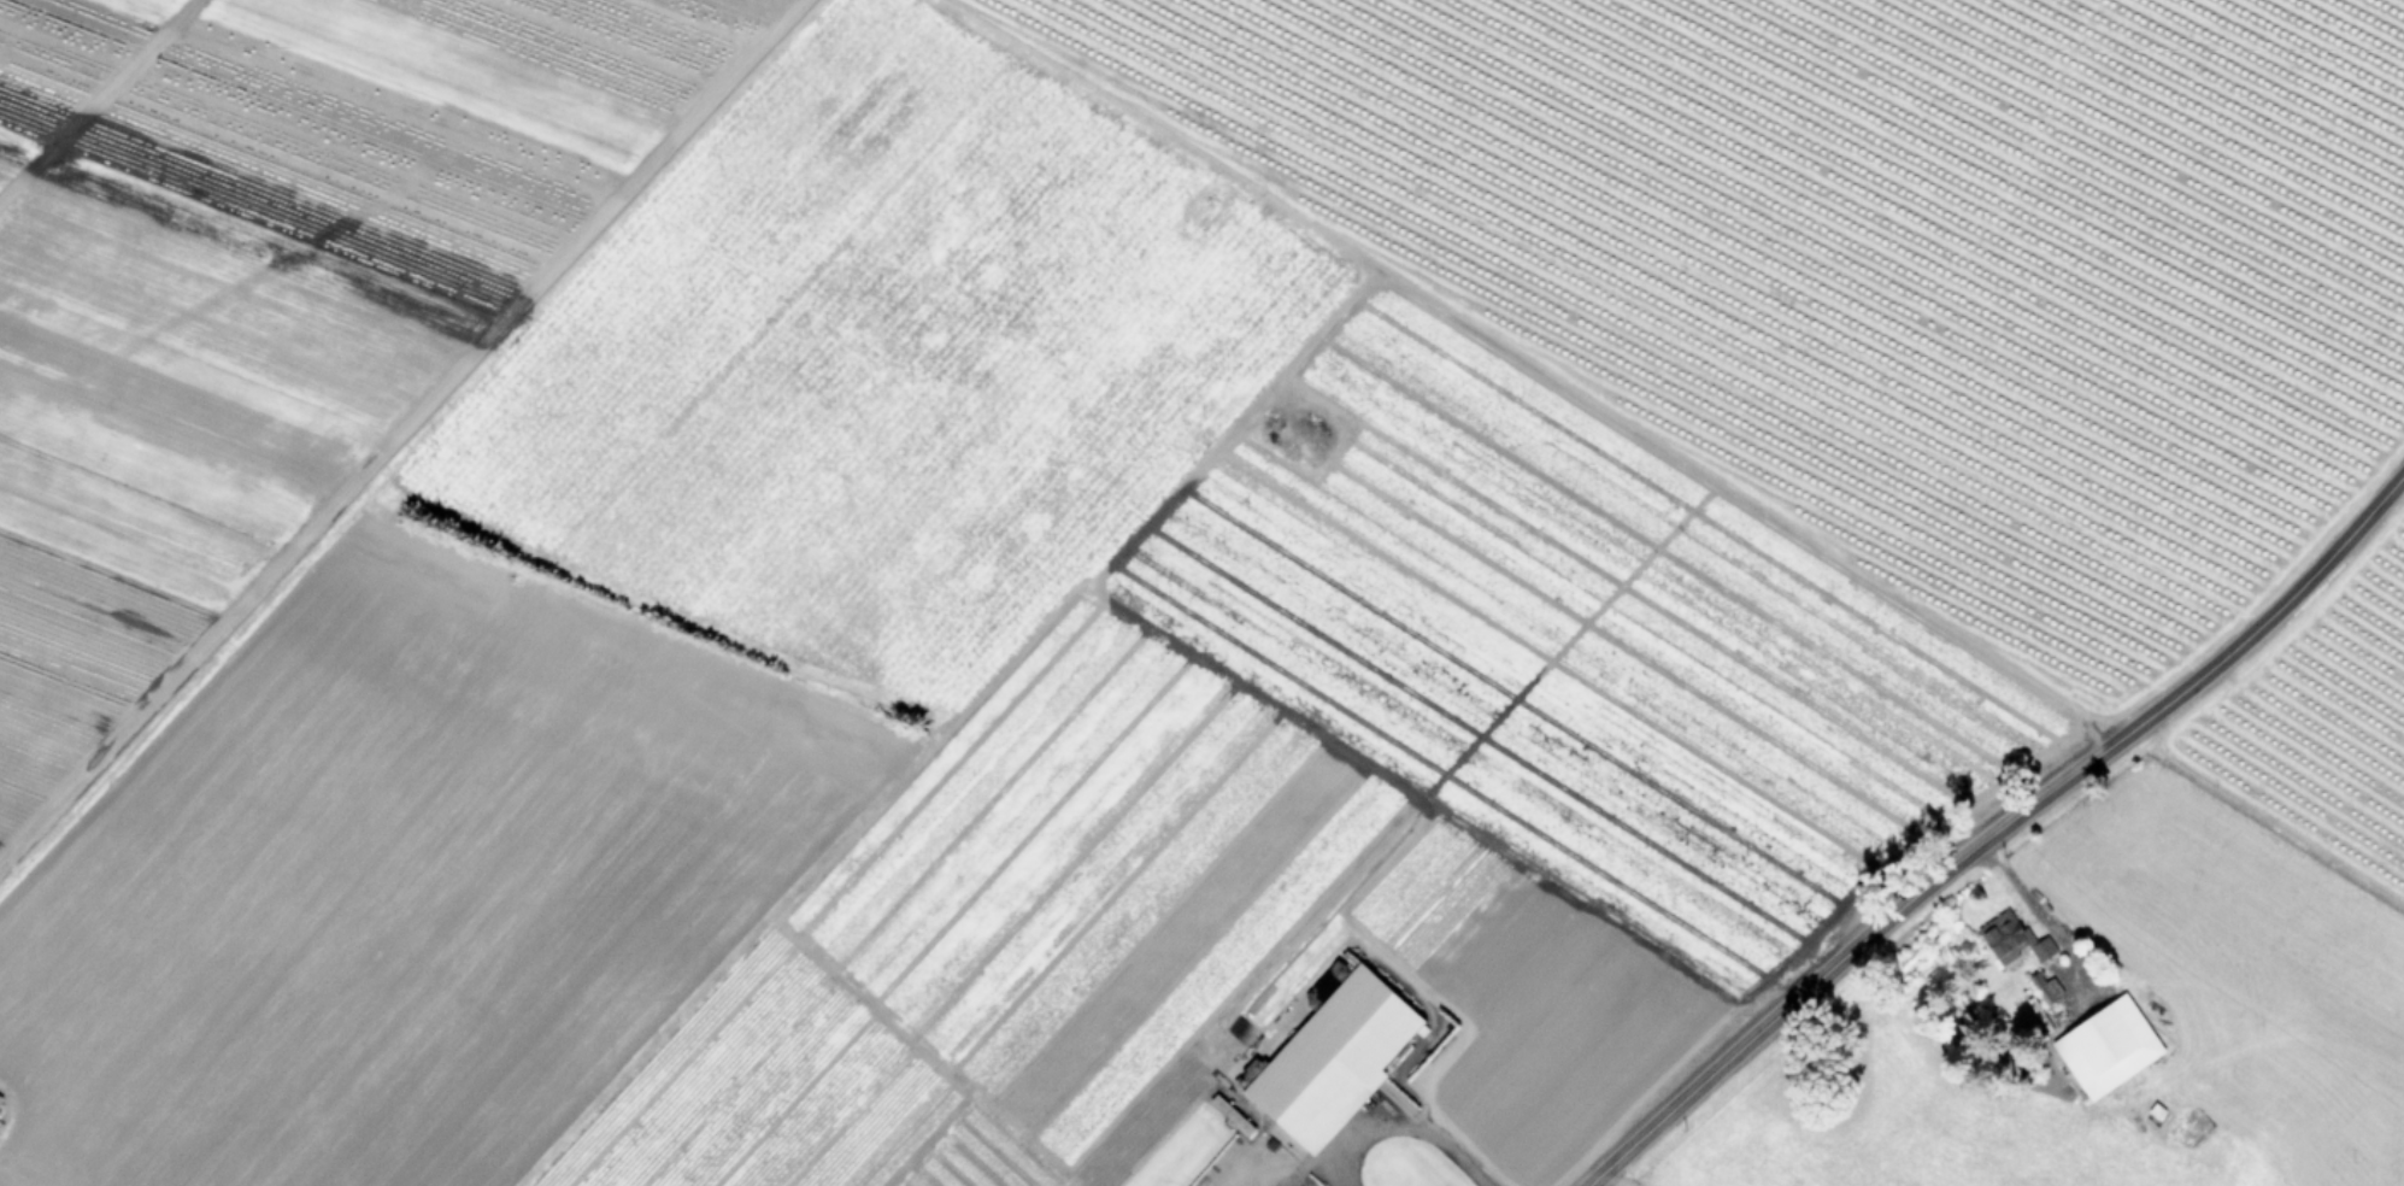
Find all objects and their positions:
crop: (1087, 548)
road: (1998, 829)
road: (2035, 911)
building: (2014, 939)
crop: (2145, 970)
building: (2110, 1050)
building: (1338, 1061)
building: (0, 1100)
road: (1400, 1122)

